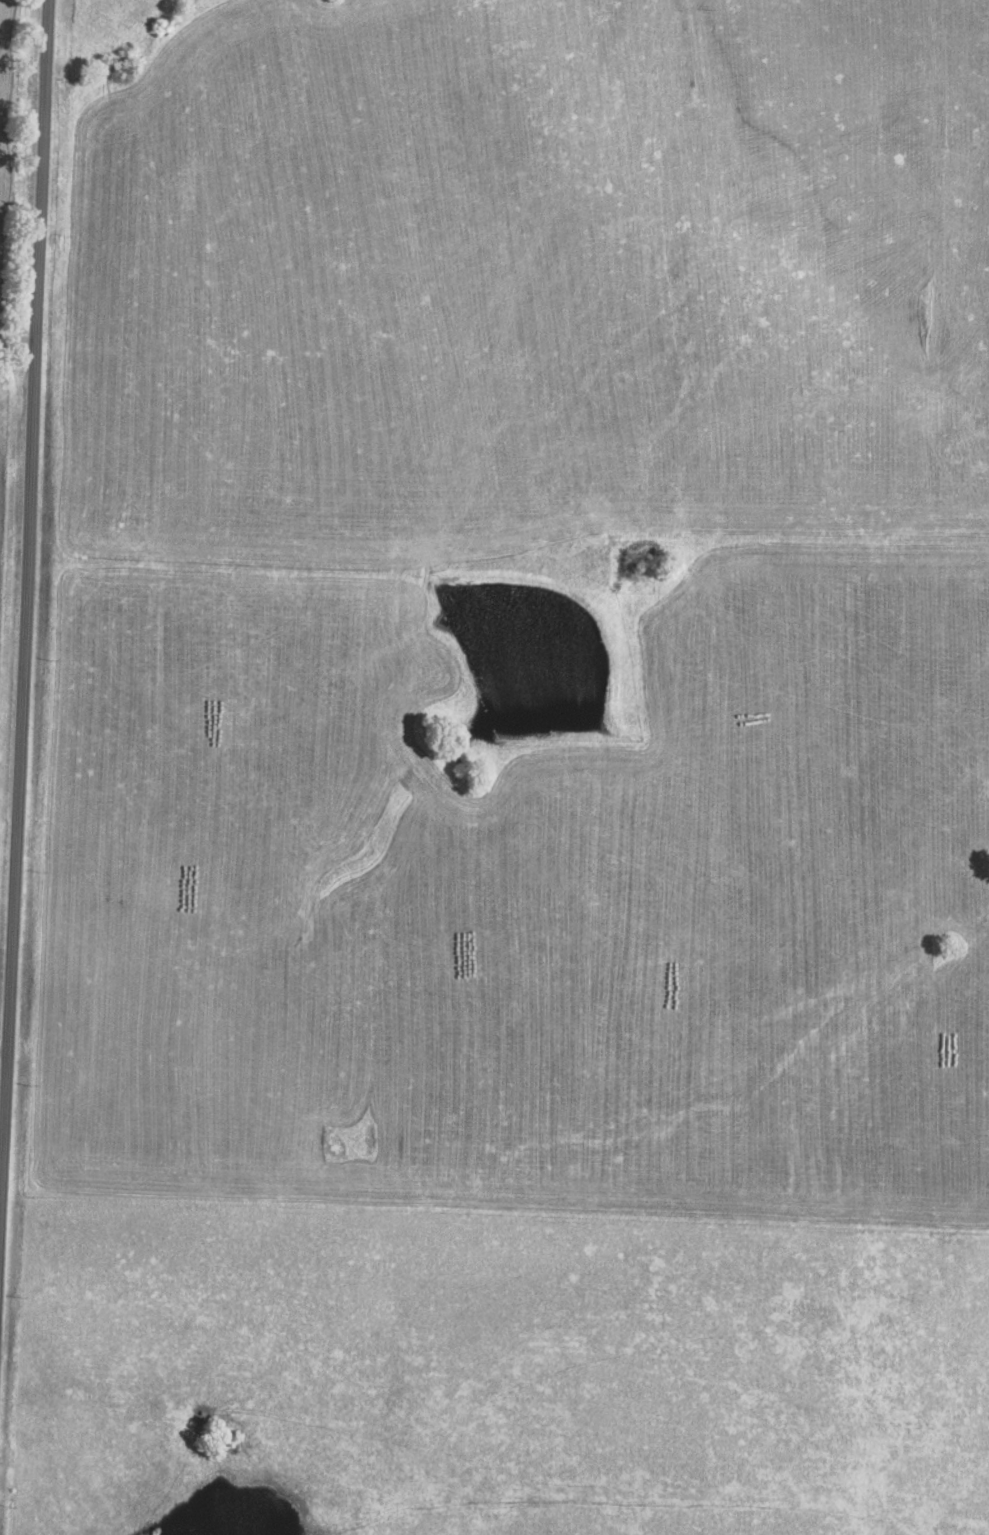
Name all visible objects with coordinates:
road: (25, 590)

